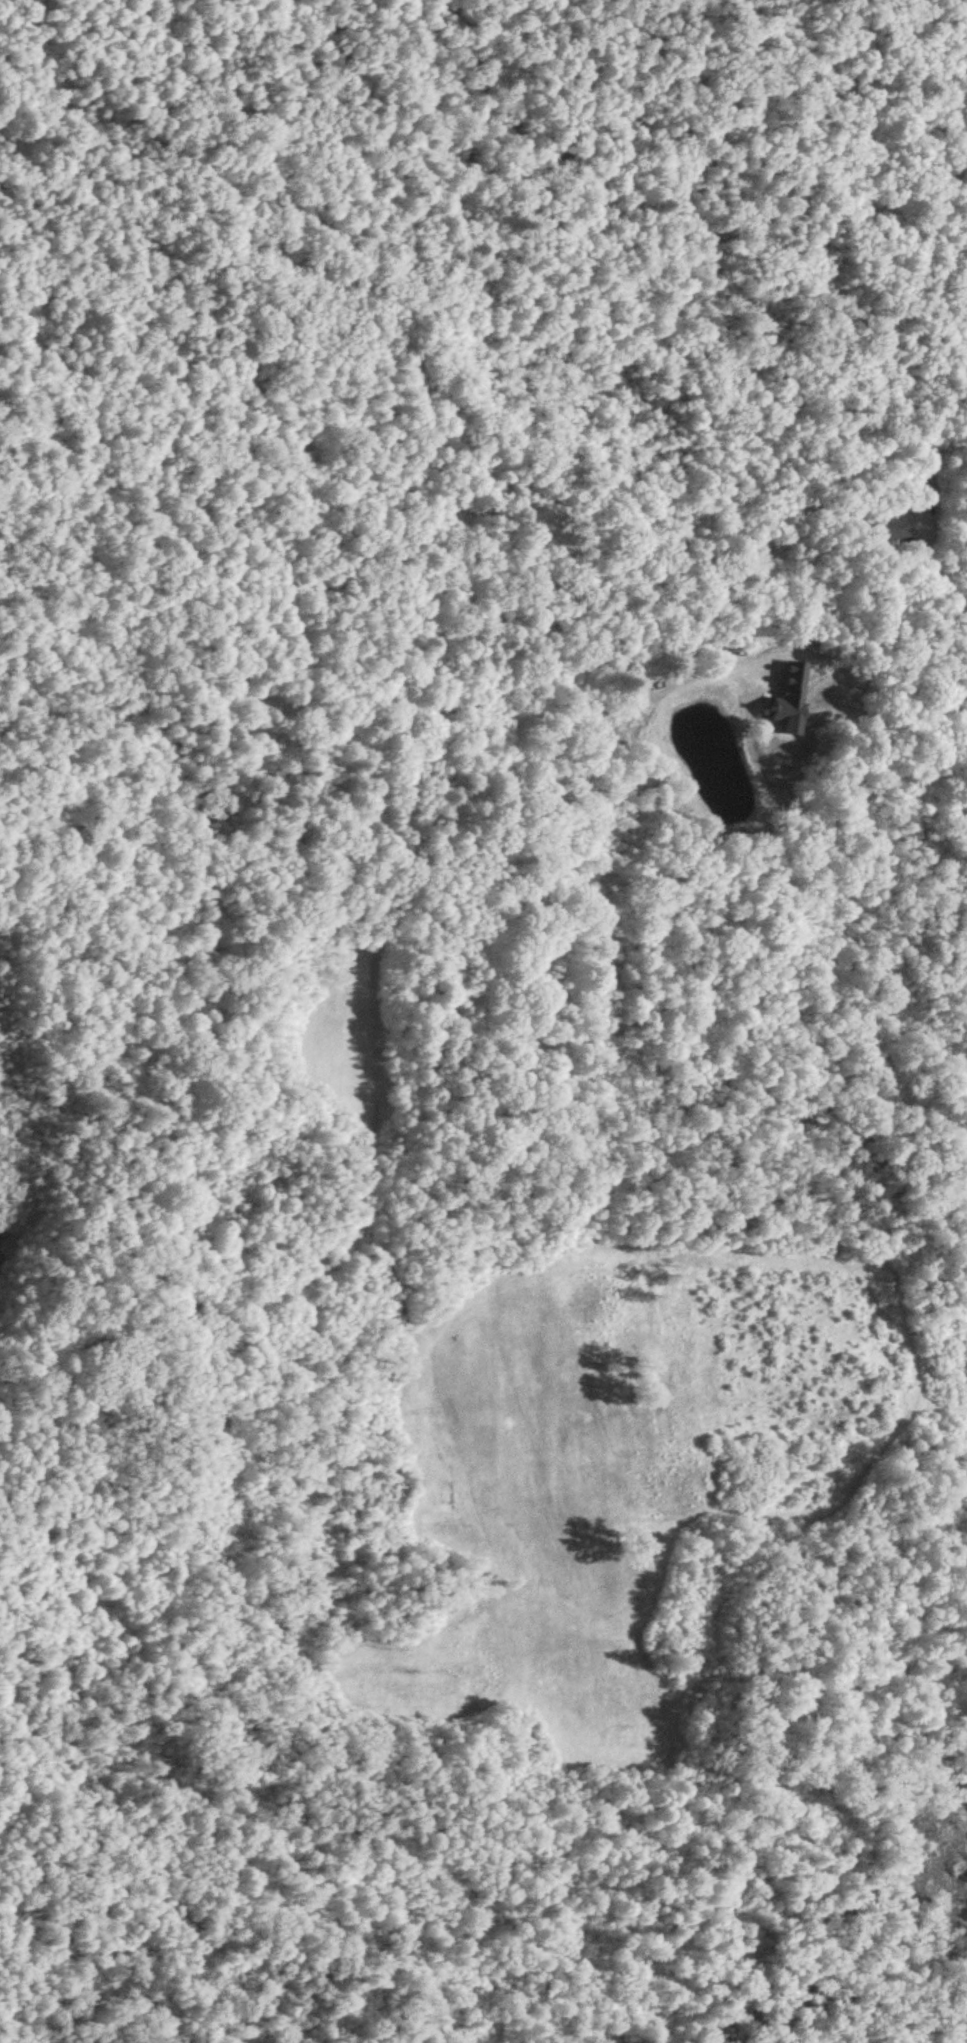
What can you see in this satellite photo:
building: (781, 710)

